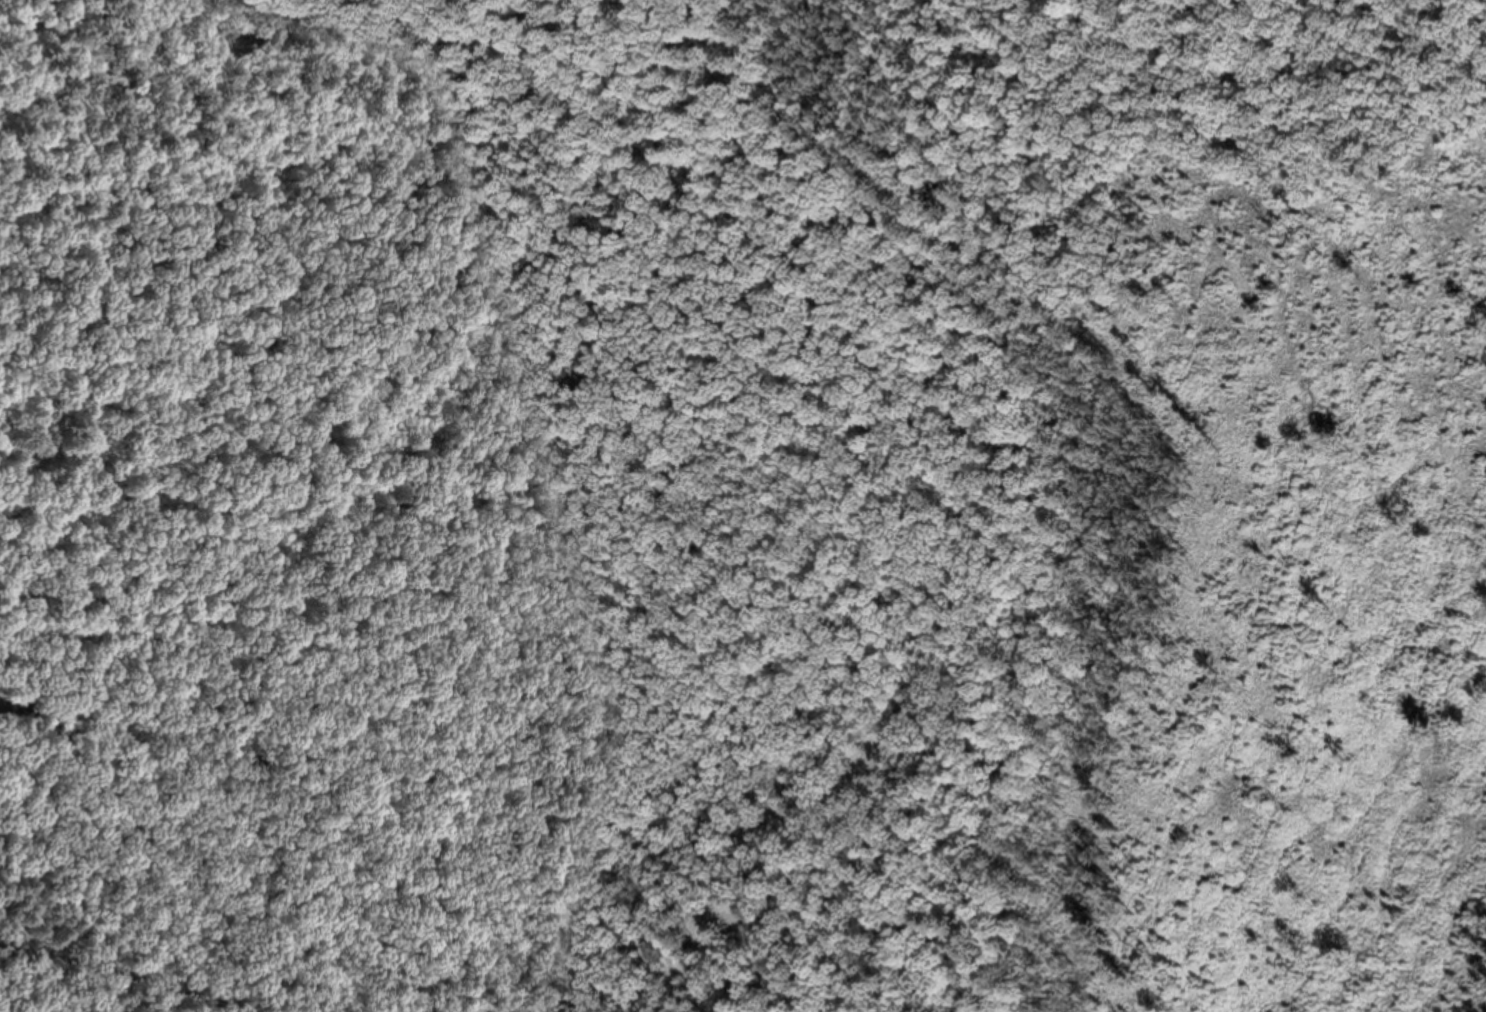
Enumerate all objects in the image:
park: (1134, 504)

